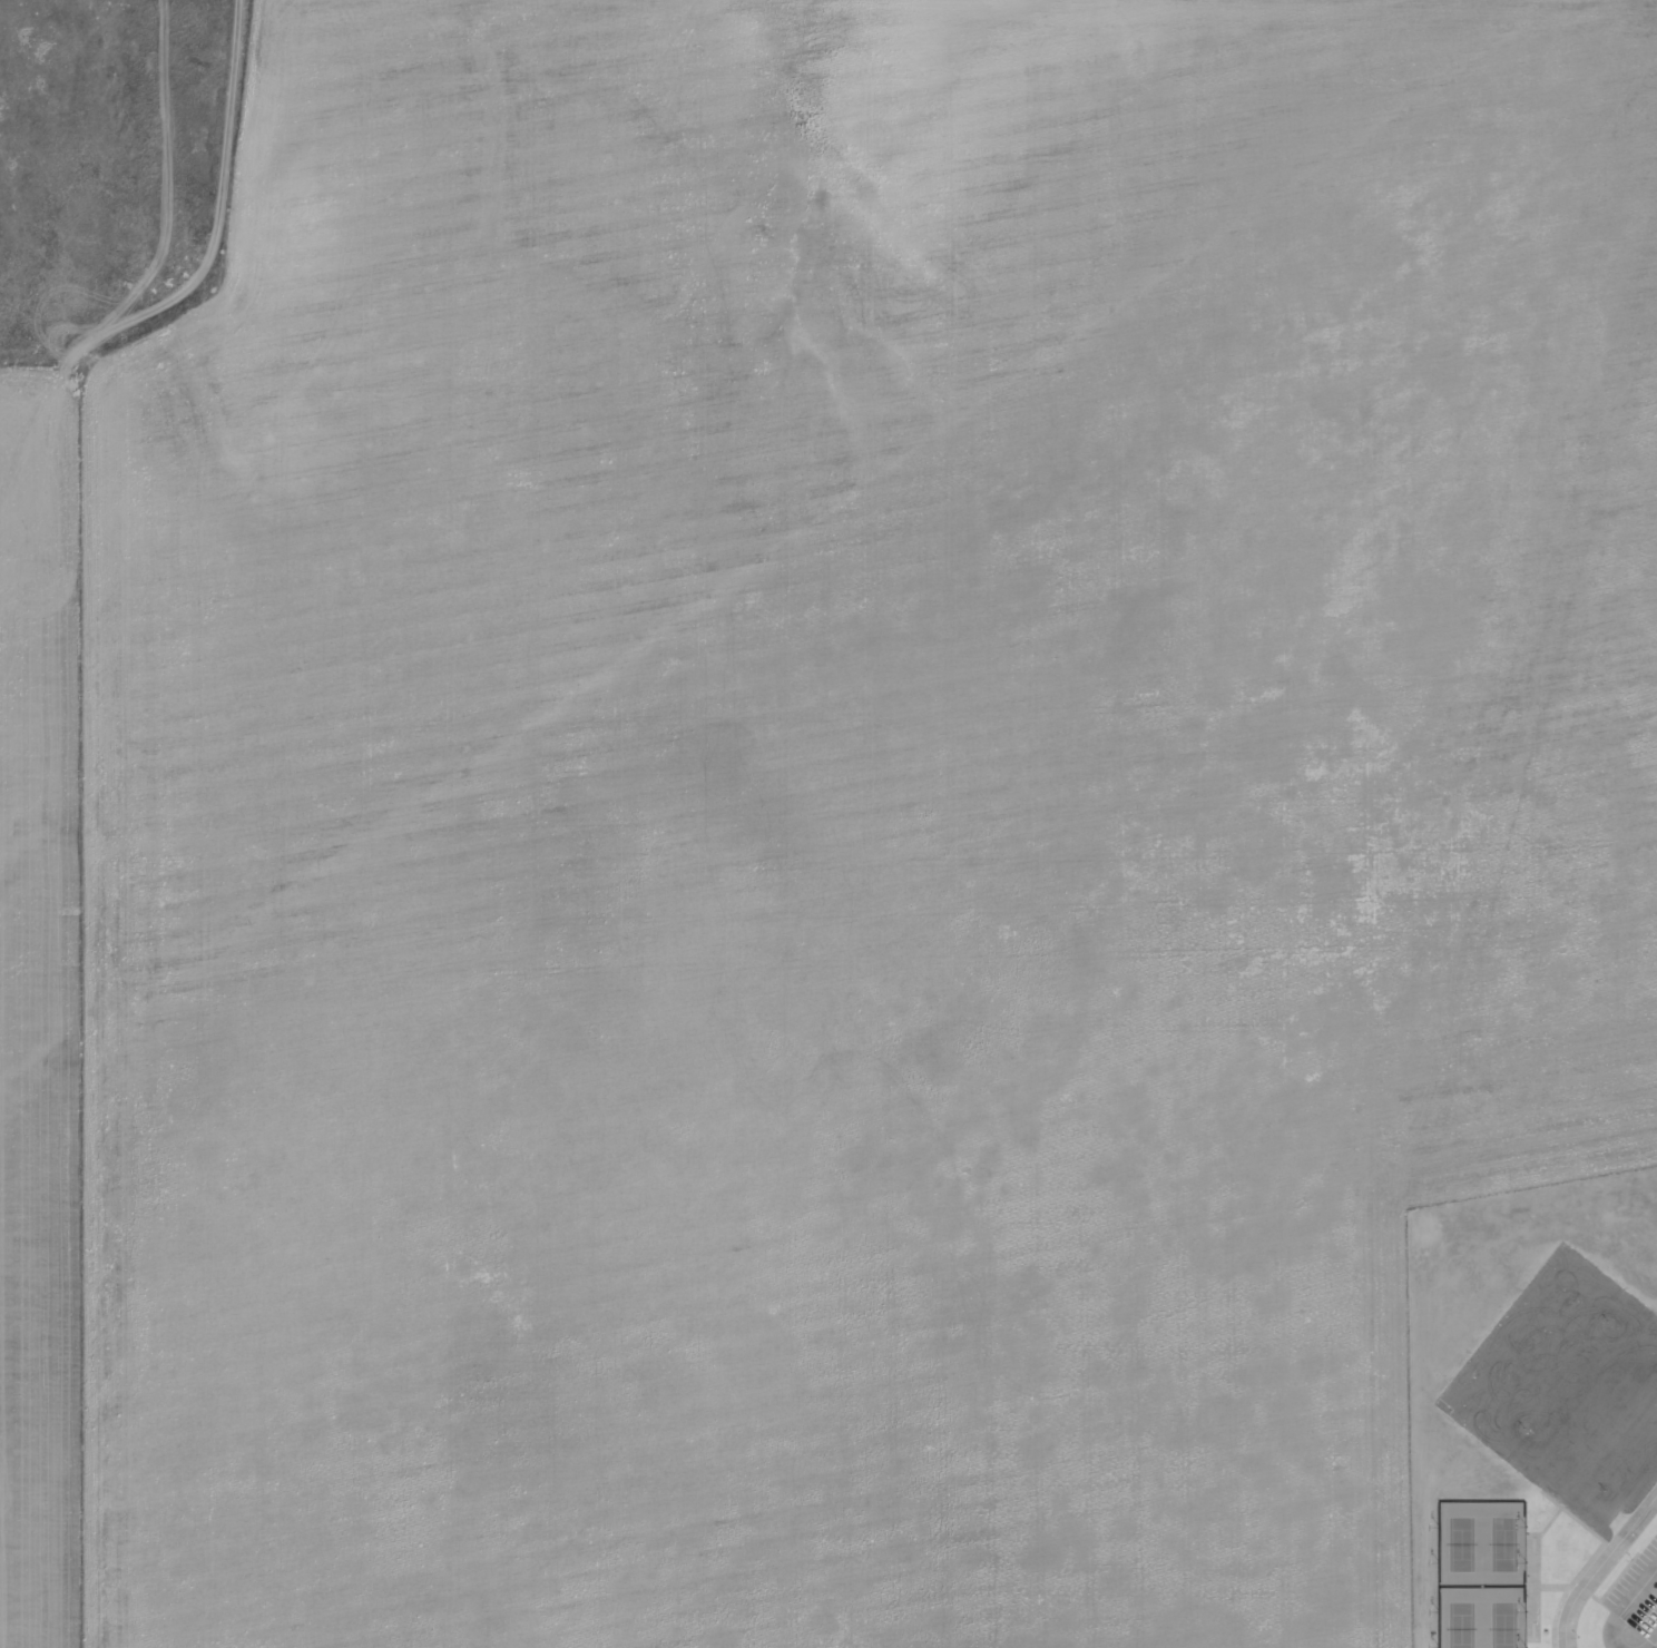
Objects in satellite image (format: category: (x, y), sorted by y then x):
road: (1599, 1570)
park: (1478, 1573)
parking lot: (1636, 1590)

